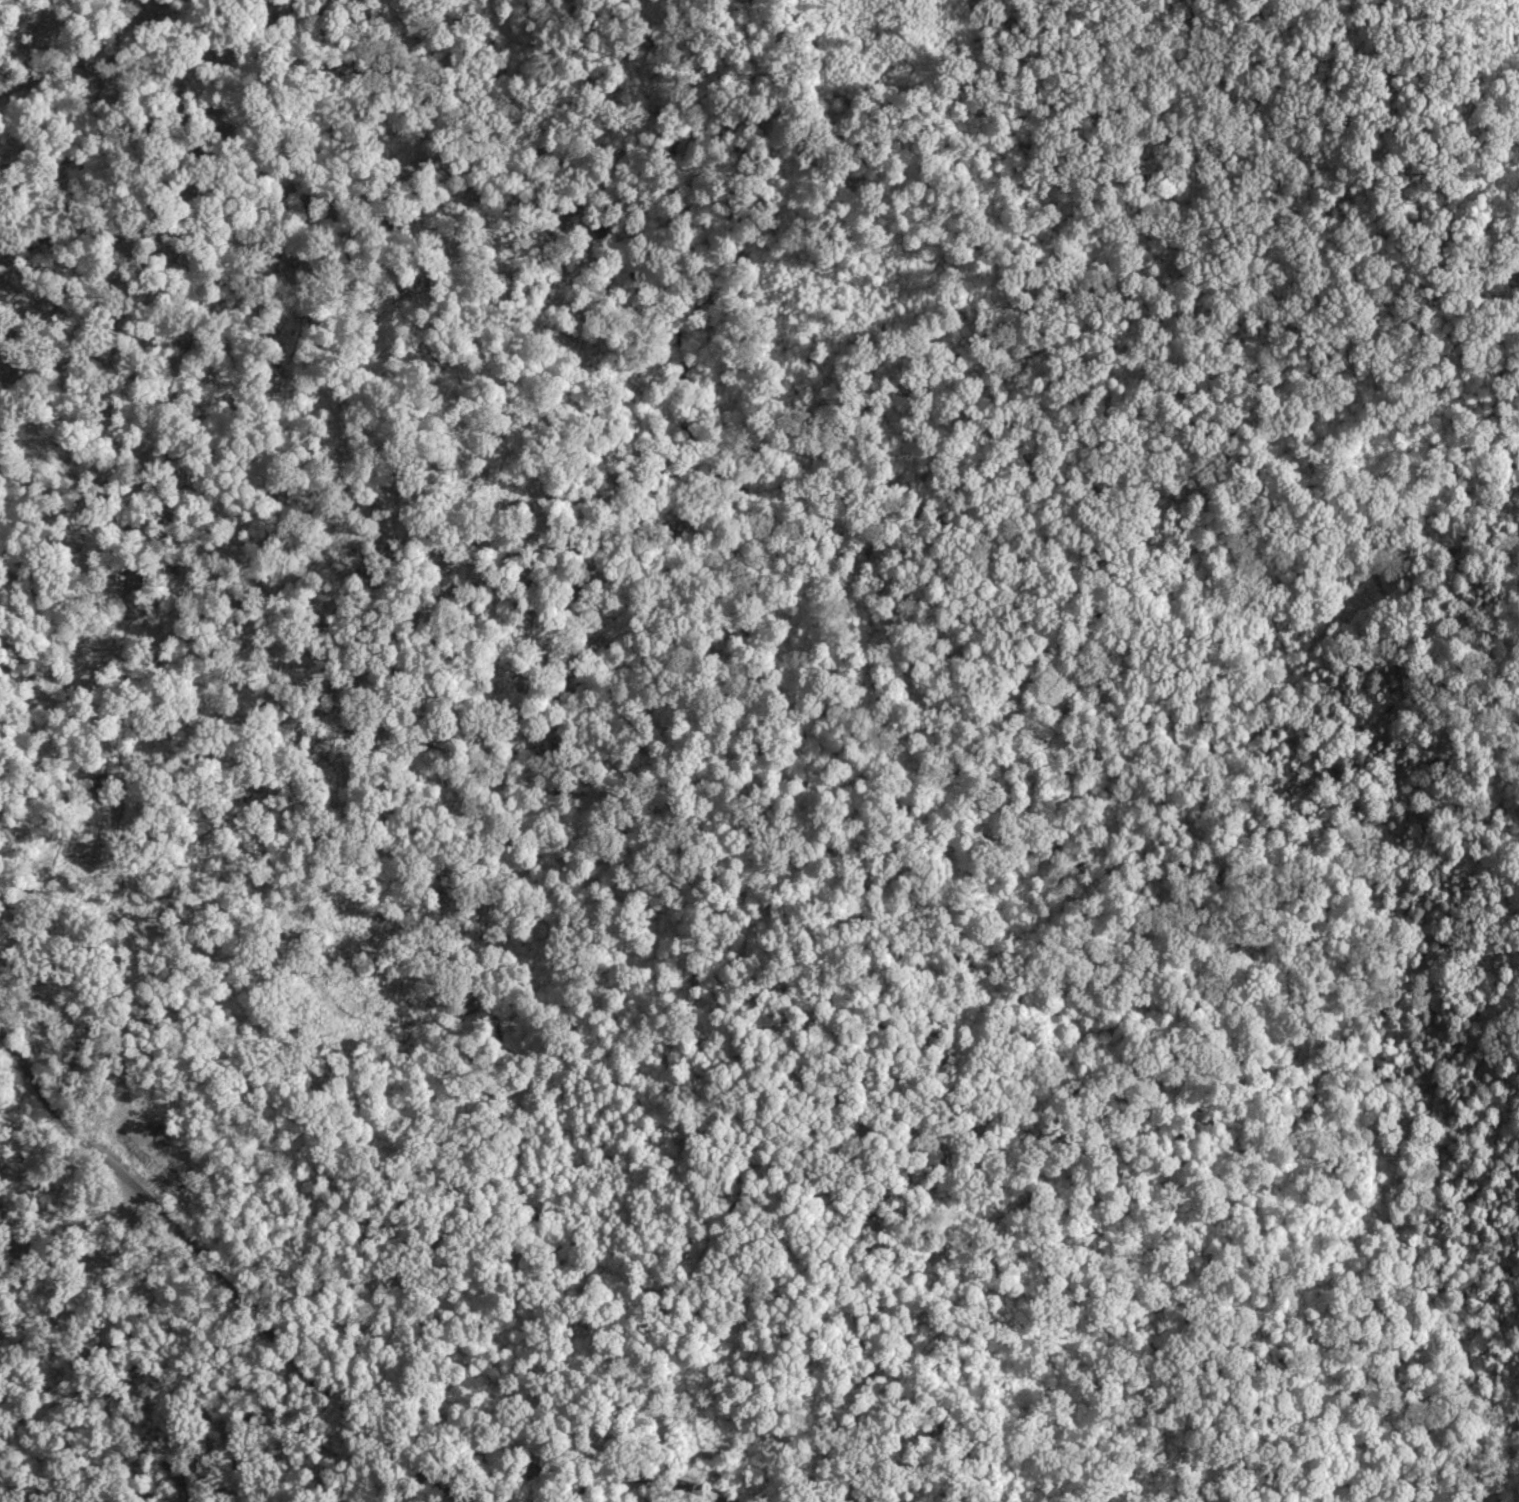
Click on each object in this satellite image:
road: (265, 1397)

